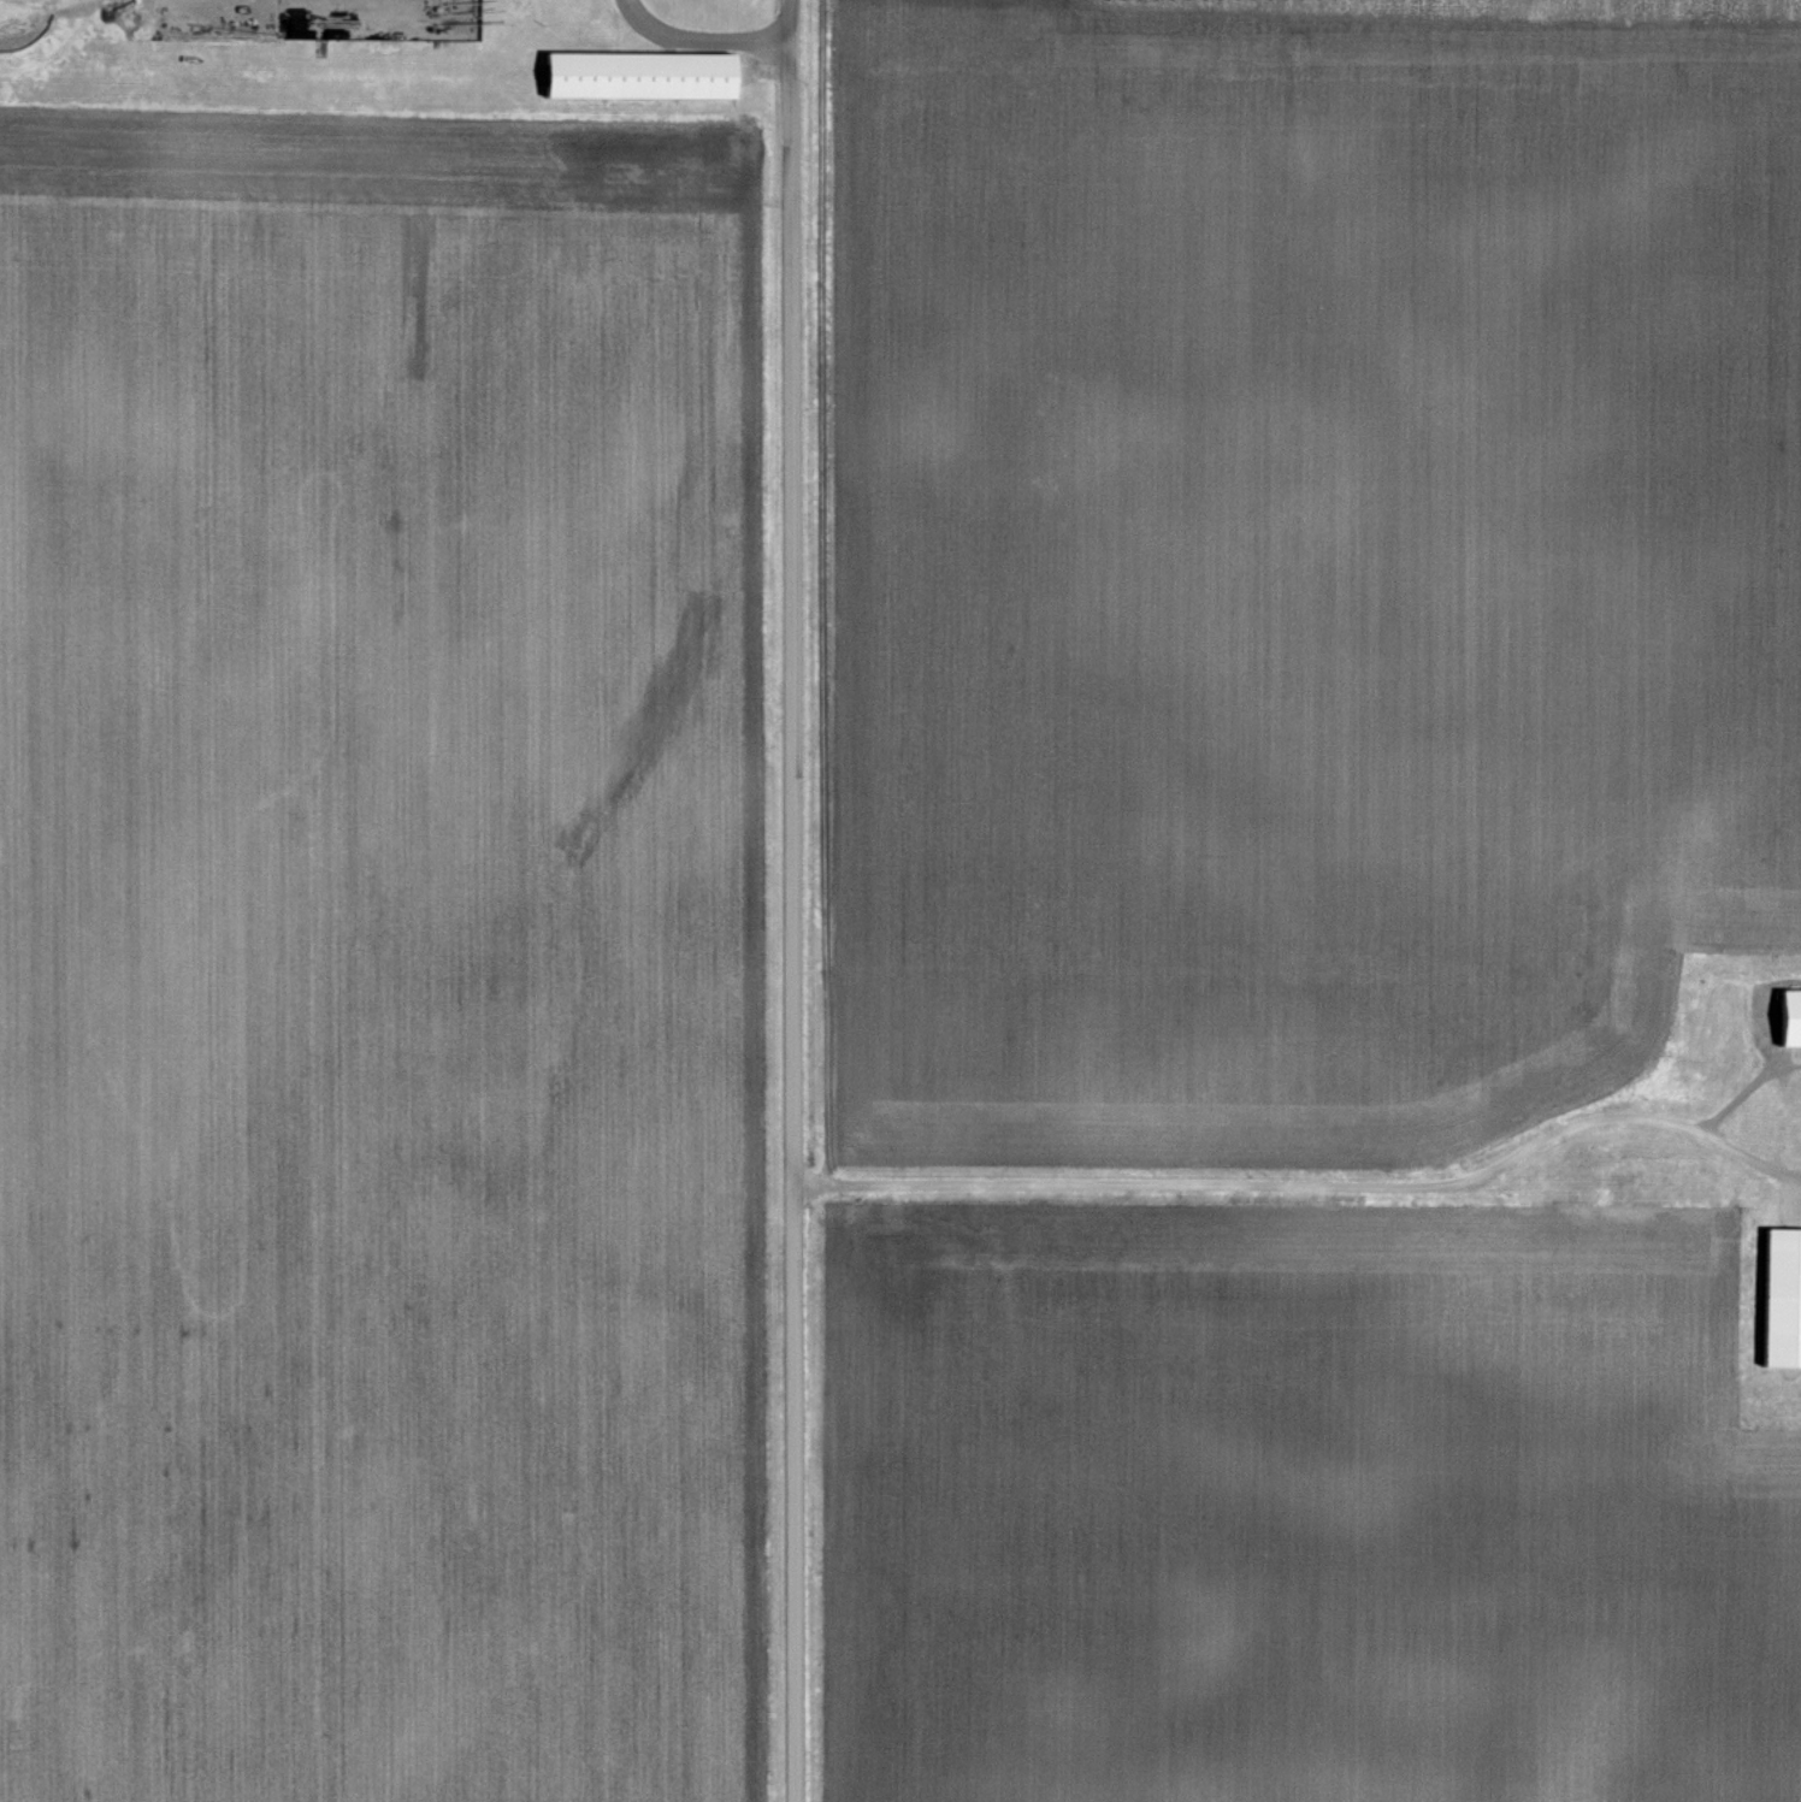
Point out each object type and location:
solar farm: (1524, 4)
road: (703, 41)
building: (648, 76)
road: (791, 900)
road: (1309, 1183)
building: (1778, 1299)

